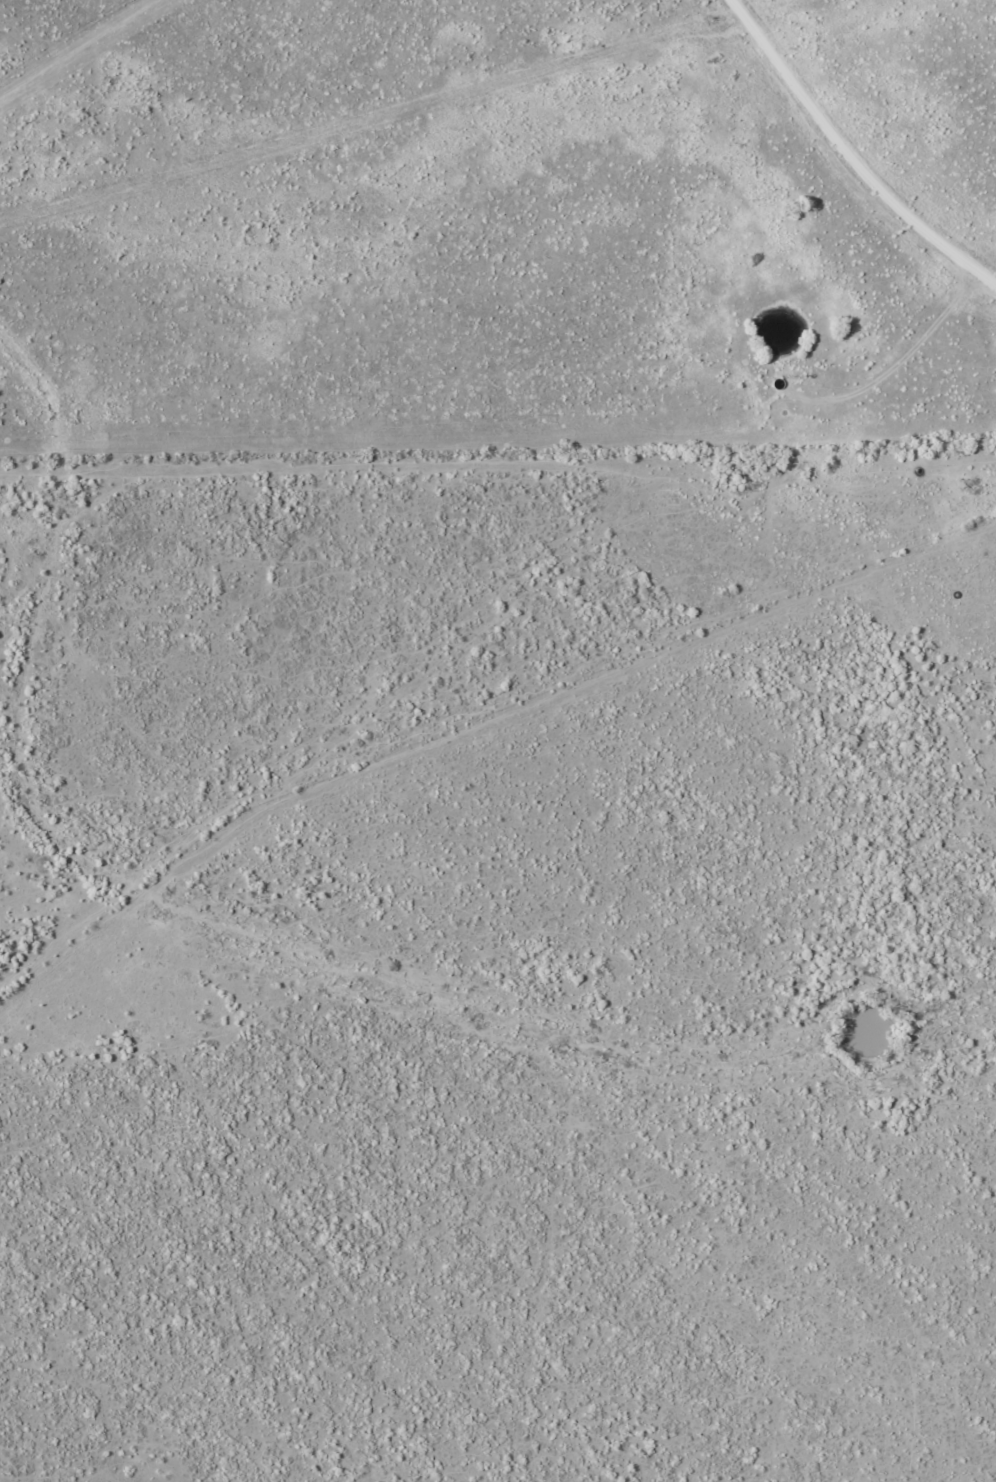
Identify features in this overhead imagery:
road: (800, 197)

